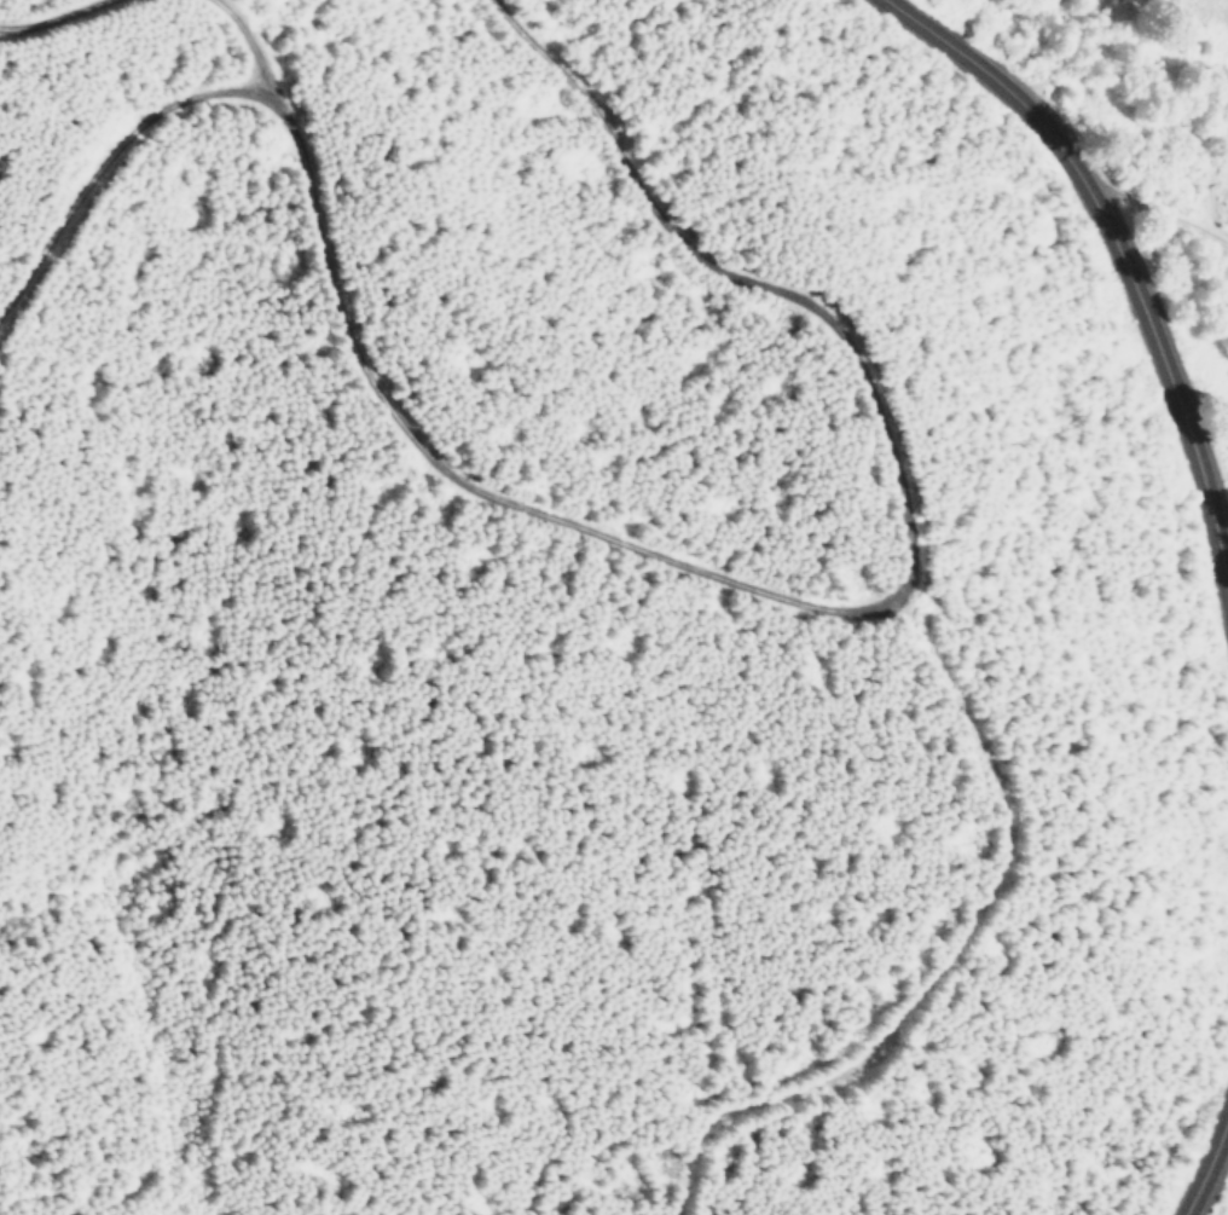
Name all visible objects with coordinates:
road: (1164, 209)
road: (1124, 270)
road: (1205, 1150)

